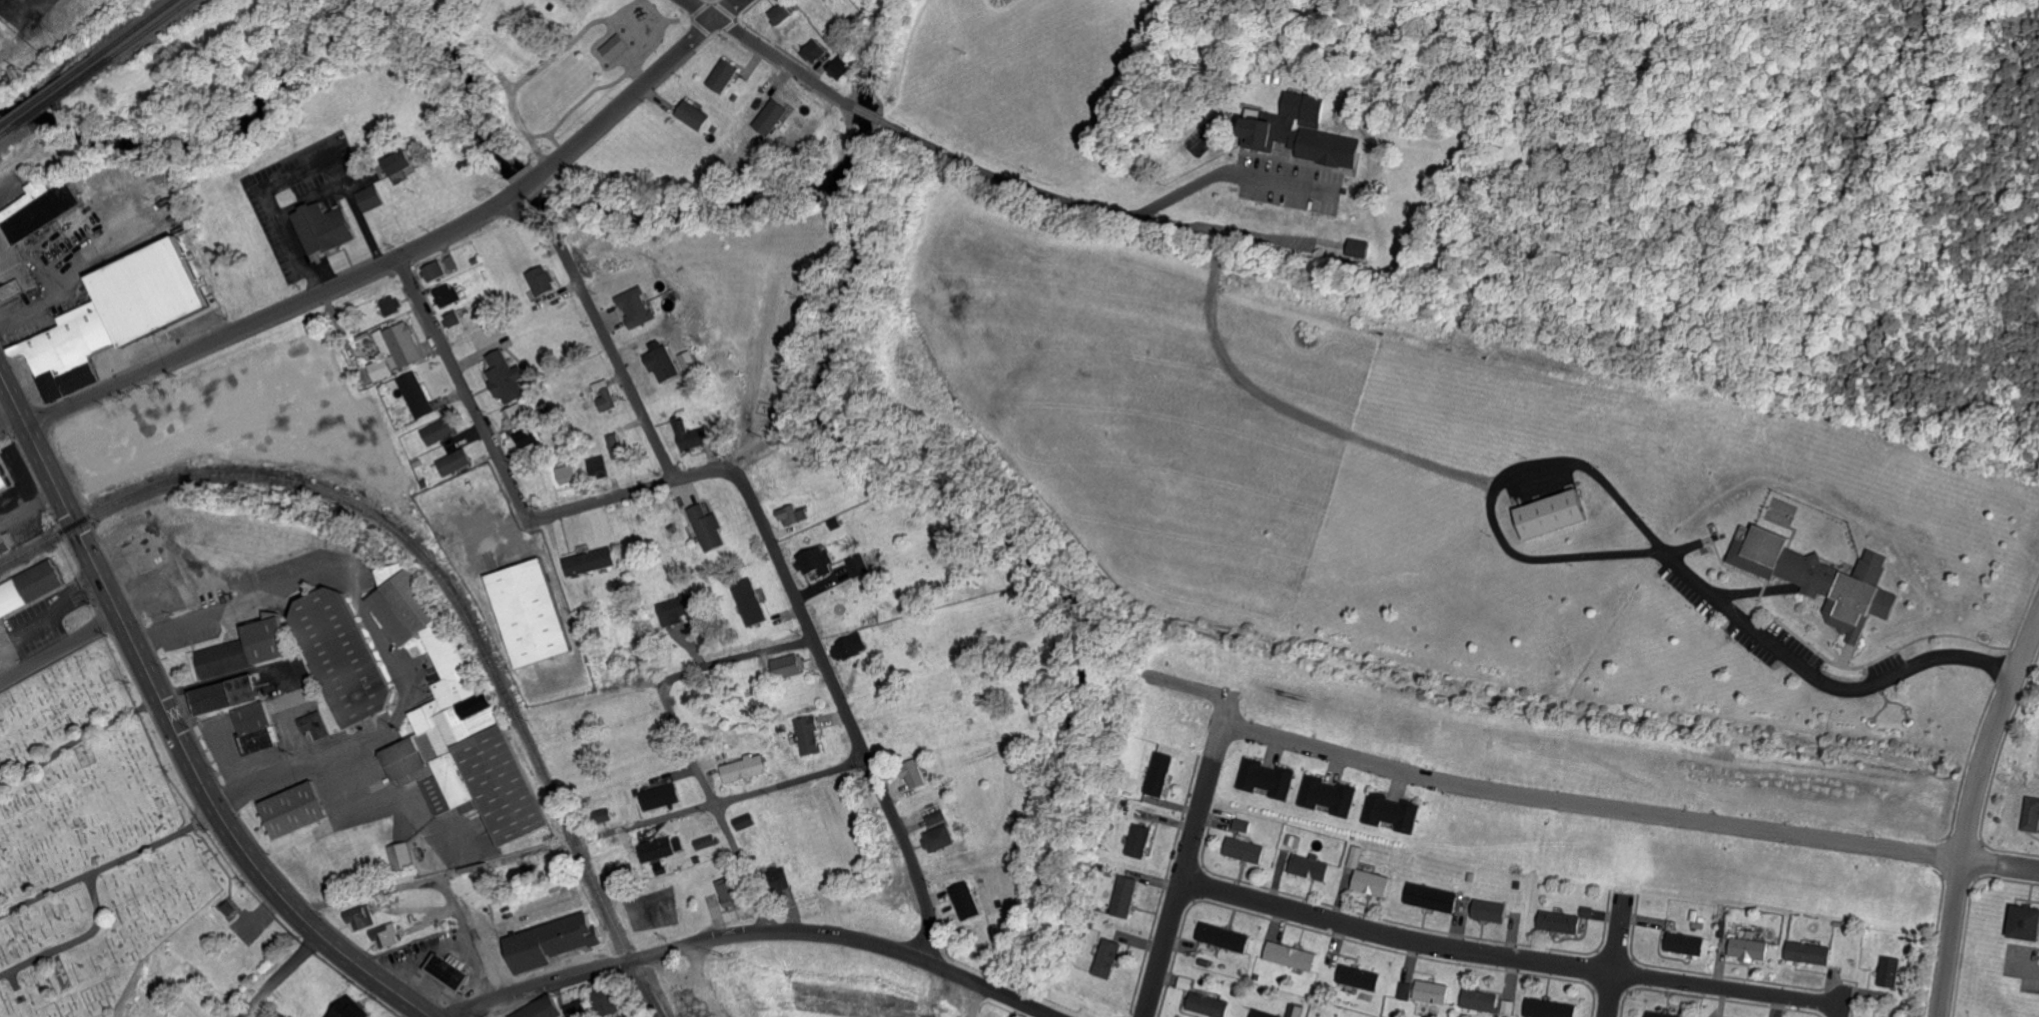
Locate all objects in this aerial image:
building: (781, 13)
railway: (137, 23)
railway: (149, 29)
building: (614, 47)
building: (815, 51)
road: (767, 54)
building: (842, 66)
building: (725, 74)
railway: (55, 82)
railway: (62, 93)
building: (1305, 106)
road: (865, 111)
building: (694, 114)
building: (773, 116)
railway: (2, 119)
building: (1261, 131)
railway: (6, 132)
road: (197, 132)
building: (1328, 147)
building: (400, 161)
road: (1231, 174)
road: (294, 176)
road: (1974, 179)
parking lot: (1292, 184)
road: (1754, 195)
building: (371, 197)
road: (1099, 206)
building: (324, 228)
building: (29, 233)
road: (639, 238)
building: (1356, 248)
road: (408, 254)
road: (1735, 255)
building: (435, 270)
building: (543, 280)
building: (152, 291)
building: (448, 295)
building: (391, 305)
building: (636, 308)
building: (454, 319)
road: (601, 333)
road: (1904, 344)
building: (396, 349)
building: (663, 361)
building: (689, 362)
building: (508, 377)
road: (1, 384)
road: (462, 389)
building: (417, 395)
road: (1289, 413)
building: (517, 414)
building: (439, 430)
building: (694, 436)
building: (530, 437)
building: (617, 445)
building: (454, 462)
building: (599, 466)
building: (568, 474)
building: (4, 481)
road: (624, 495)
road: (28, 505)
building: (1553, 513)
building: (795, 515)
building: (708, 527)
road: (1655, 543)
building: (4, 544)
building: (589, 561)
building: (830, 565)
railway: (439, 577)
building: (1820, 577)
building: (30, 588)
building: (750, 601)
building: (675, 610)
road: (56, 611)
building: (530, 612)
building: (1, 625)
road: (374, 634)
building: (847, 648)
building: (247, 649)
road: (58, 650)
building: (347, 656)
road: (730, 659)
building: (789, 666)
building: (227, 695)
road: (840, 707)
building: (456, 723)
building: (315, 724)
building: (256, 728)
road: (173, 729)
building: (809, 735)
road: (77, 740)
building: (746, 768)
building: (914, 774)
building: (1161, 774)
building: (1268, 779)
building: (1330, 795)
building: (662, 797)
road: (727, 799)
road: (1569, 802)
building: (294, 810)
building: (1393, 812)
road: (1968, 812)
road: (716, 813)
building: (2032, 814)
building: (604, 816)
building: (747, 822)
building: (1243, 825)
building: (939, 832)
building: (1293, 840)
building: (1140, 841)
building: (707, 842)
park: (95, 846)
building: (662, 848)
building: (1246, 850)
building: (1356, 856)
building: (401, 857)
road: (109, 865)
road: (2000, 865)
building: (1310, 867)
building: (621, 872)
building: (782, 878)
road: (427, 882)
building: (1373, 883)
road: (1174, 893)
building: (731, 894)
building: (1126, 896)
building: (1433, 897)
building: (966, 901)
building: (225, 905)
building: (1492, 910)
building: (363, 917)
building: (1561, 922)
building: (2026, 922)
road: (515, 926)
road: (805, 932)
building: (387, 935)
road: (954, 935)
building: (1225, 937)
road: (73, 942)
building: (552, 943)
building: (1686, 944)
building: (1749, 949)
building: (1811, 953)
building: (1292, 956)
road: (1611, 956)
building: (1109, 958)
road: (1506, 961)
road: (2025, 969)
building: (452, 970)
building: (1892, 972)
road: (281, 977)
building: (1359, 977)
building: (1186, 983)
building: (1406, 991)
building: (1433, 992)
road: (499, 997)
building: (606, 1001)
building: (1487, 1002)
building: (1209, 1005)
building: (351, 1009)
building: (1549, 1009)
building: (537, 1010)
building: (1295, 1010)
building: (1264, 1014)
building: (1663, 1014)

